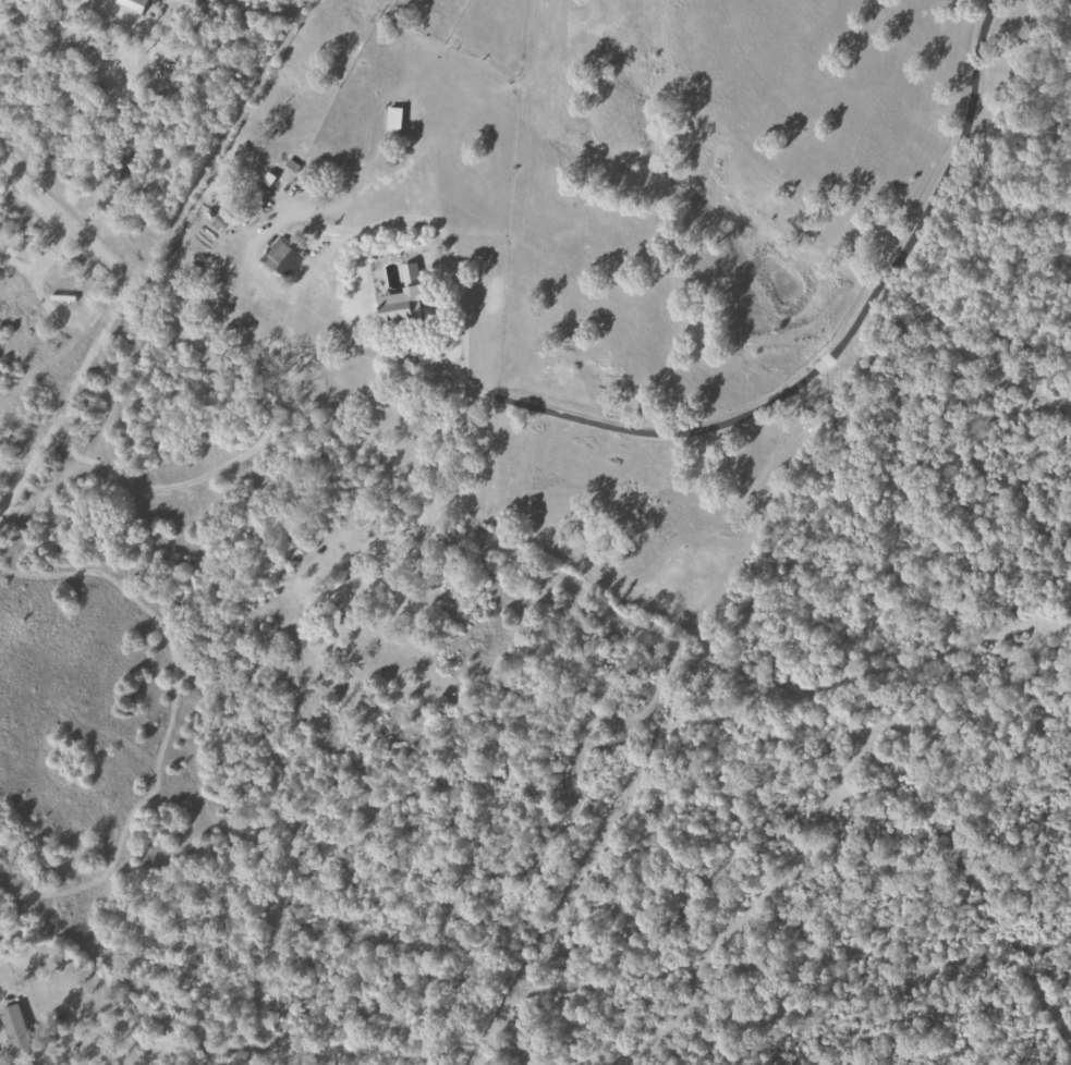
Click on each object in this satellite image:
building: (132, 4)
road: (96, 27)
building: (392, 118)
road: (259, 197)
building: (280, 258)
building: (401, 298)
road: (111, 388)
road: (684, 436)
building: (14, 1029)

